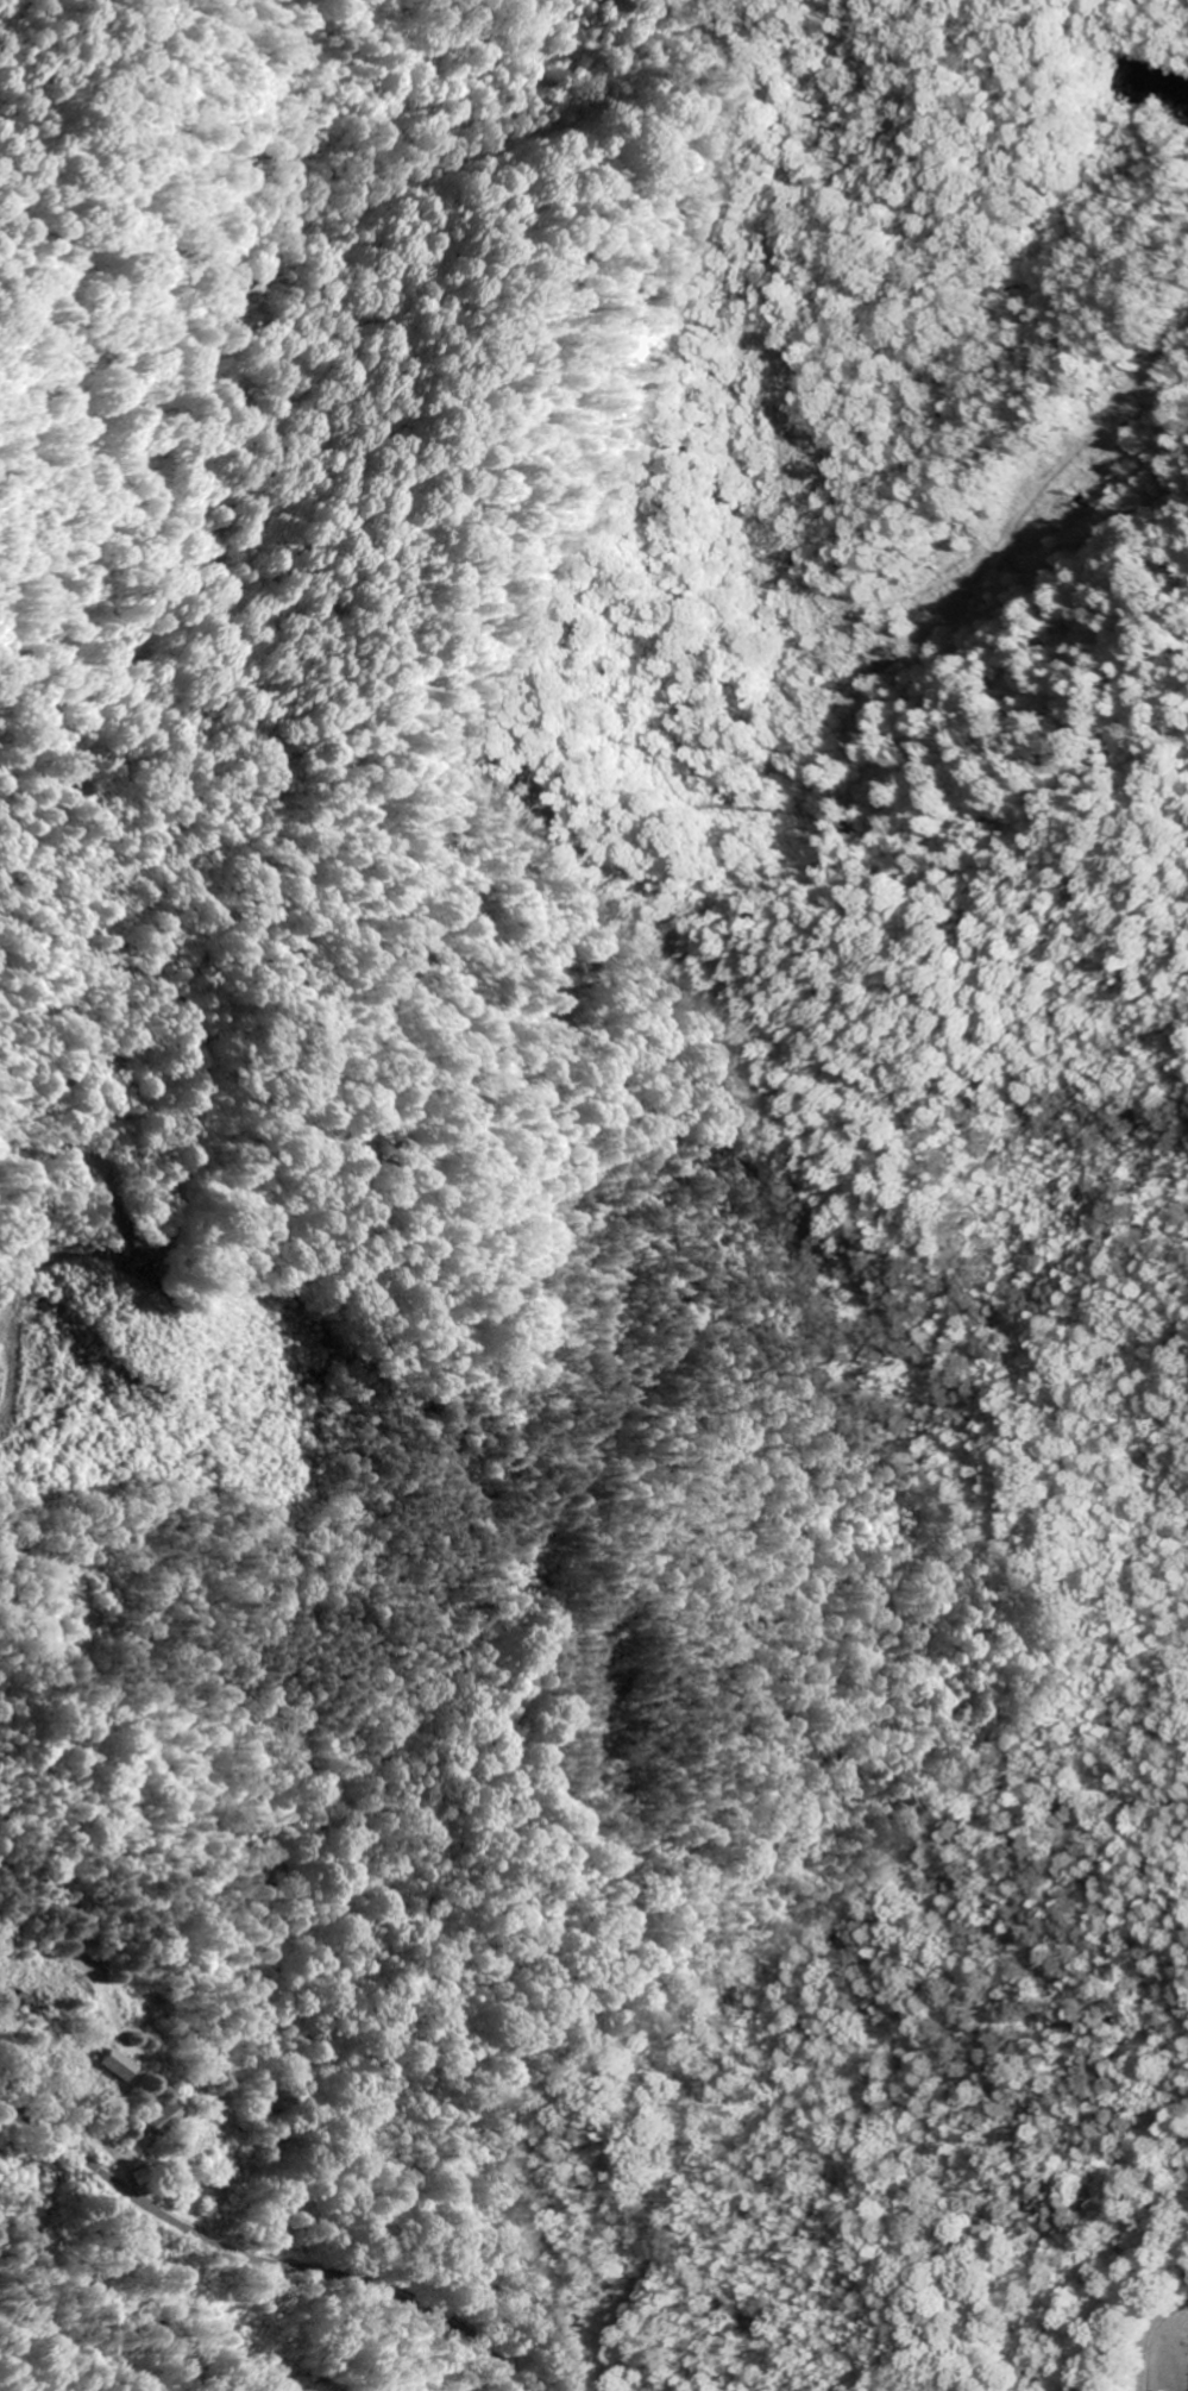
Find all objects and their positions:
building: (114, 2065)
road: (263, 2264)

